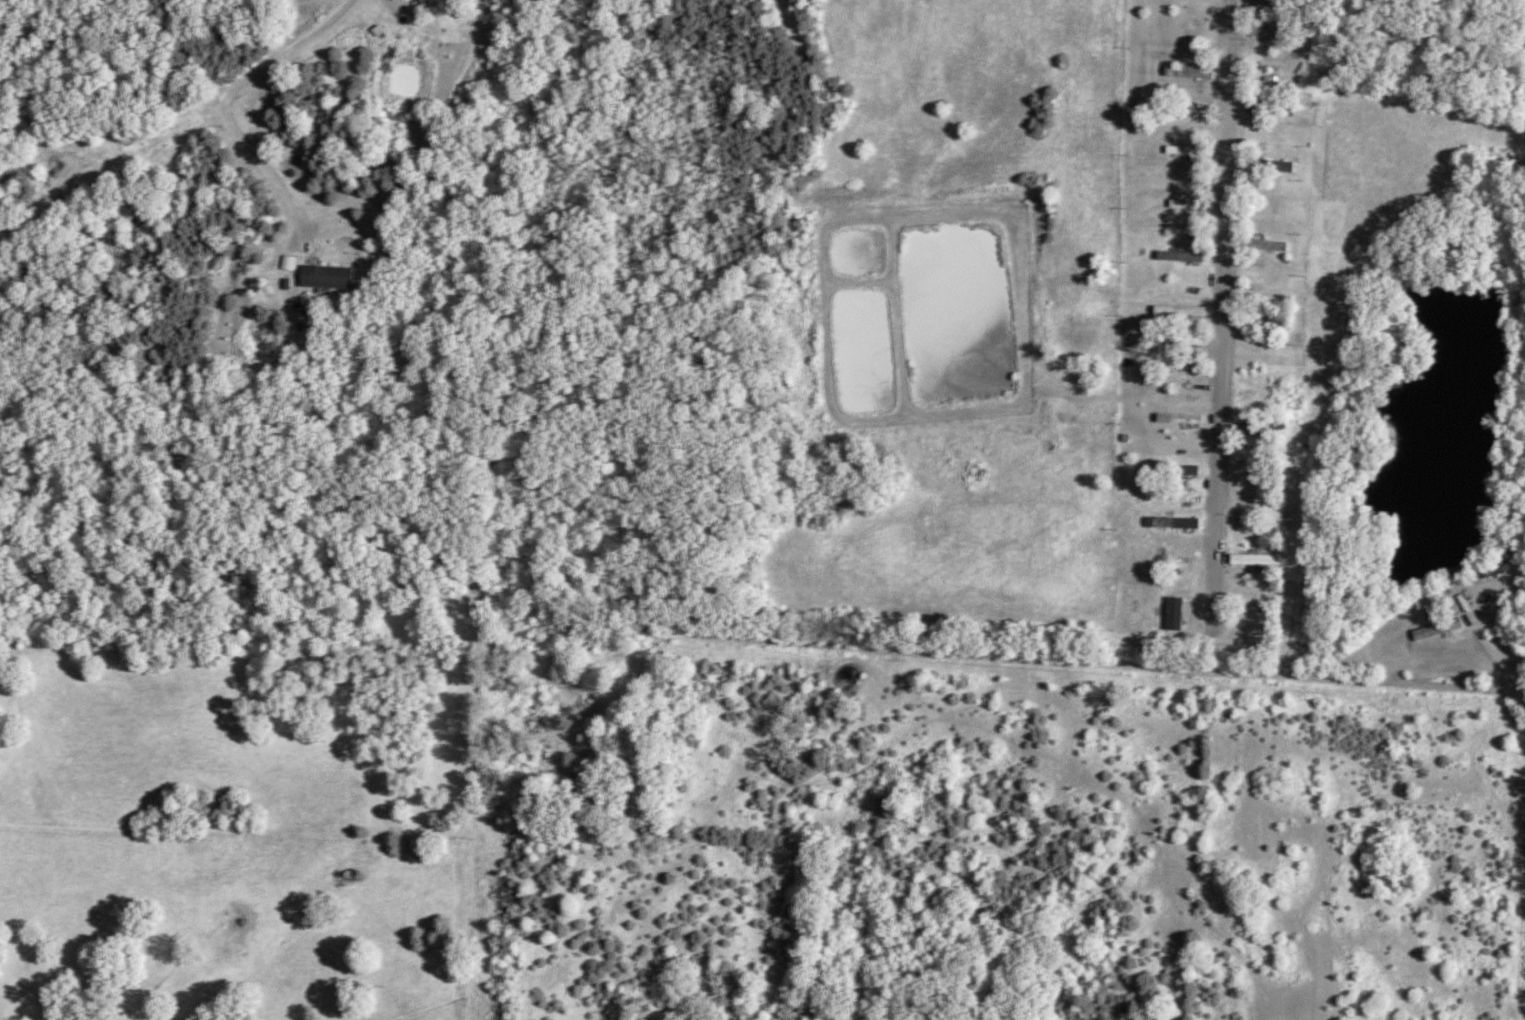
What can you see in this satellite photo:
building: (426, 1)
building: (1190, 73)
road: (219, 106)
building: (1179, 204)
building: (329, 278)
road: (1223, 301)
building: (1268, 325)
building: (1179, 471)
building: (1177, 525)
building: (1258, 561)
building: (1439, 631)
road: (1212, 641)
road: (919, 657)
road: (1369, 686)
building: (546, 711)

